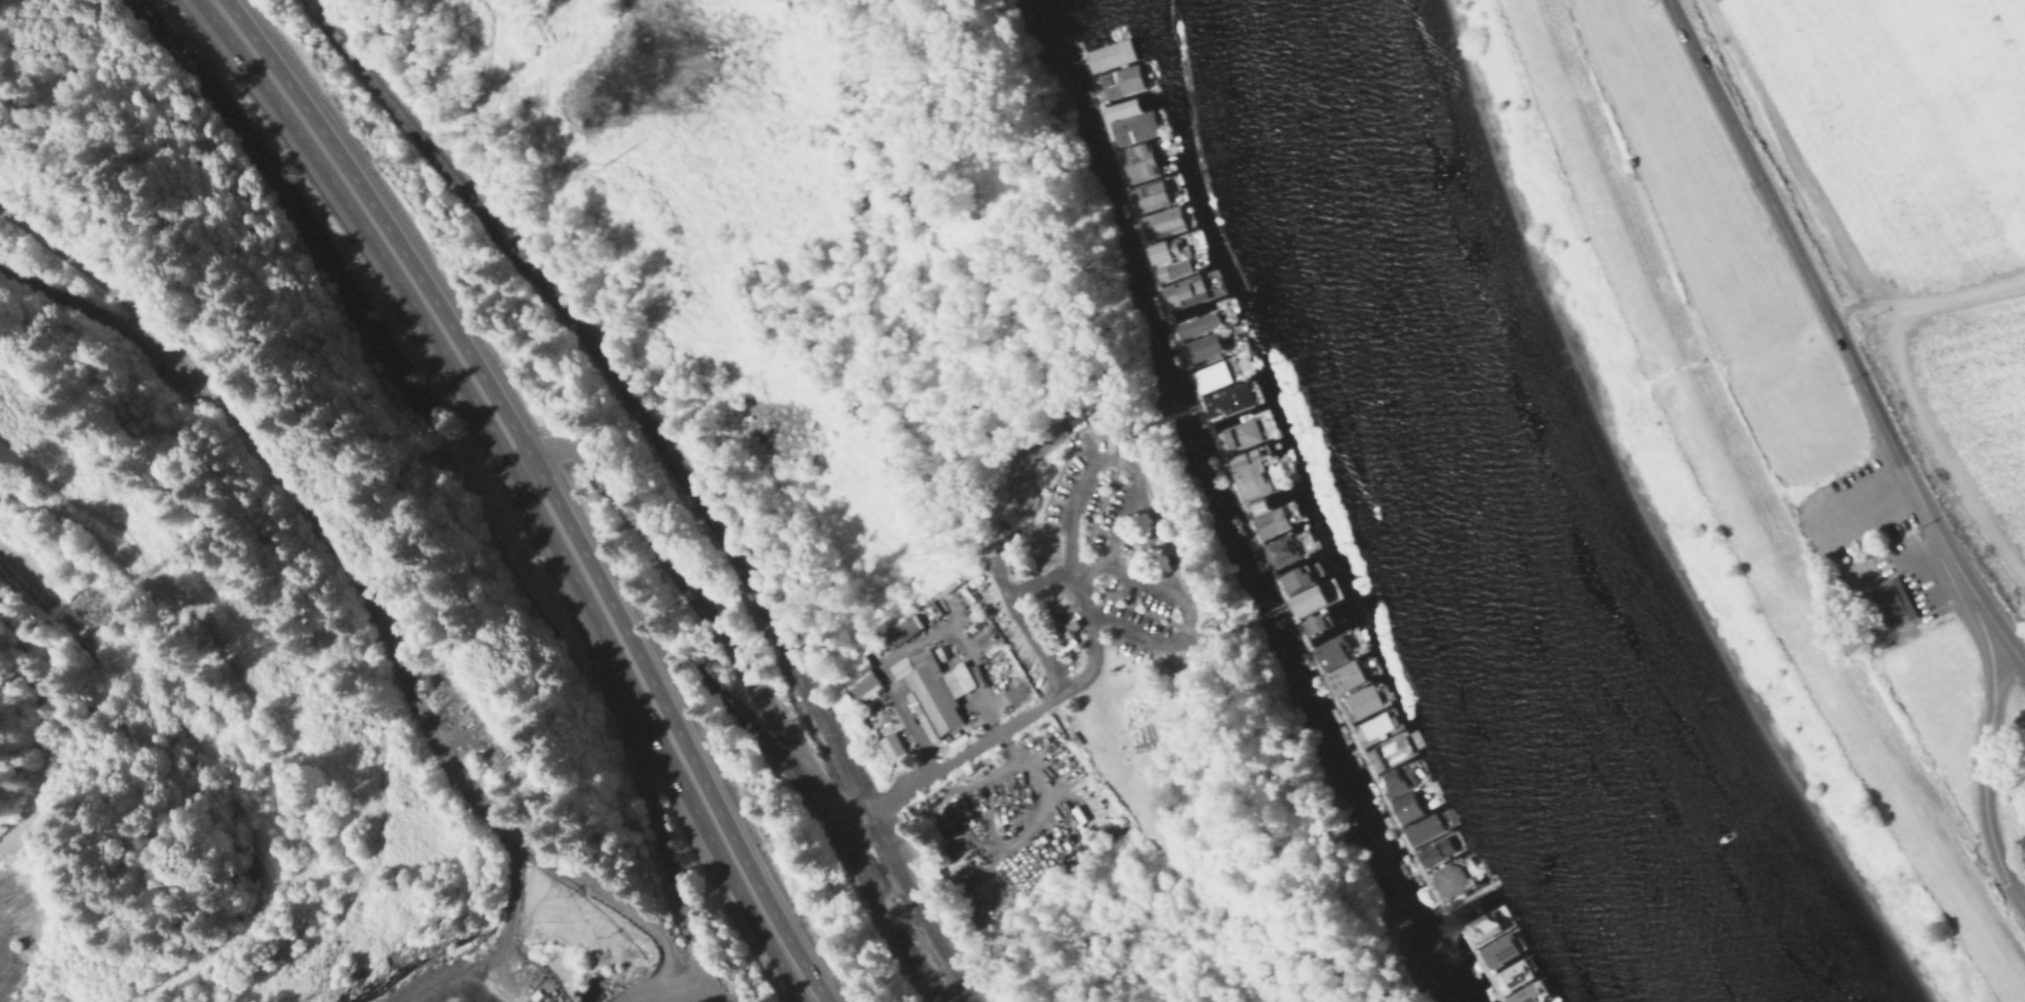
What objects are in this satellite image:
building: (1105, 52)
building: (1118, 76)
building: (1117, 104)
building: (1130, 124)
crop: (1902, 124)
road: (1750, 156)
building: (1135, 158)
building: (1150, 190)
railway: (273, 208)
building: (1160, 215)
building: (1172, 242)
building: (1169, 267)
building: (1188, 285)
road: (103, 313)
building: (1202, 316)
building: (1749, 329)
building: (1209, 341)
building: (1217, 369)
road: (1864, 384)
crop: (1978, 386)
building: (1228, 400)
pier: (1167, 418)
building: (1076, 419)
building: (1241, 429)
building: (1241, 453)
building: (1253, 475)
parking lot: (1083, 477)
railway: (674, 478)
road: (535, 488)
road: (1131, 501)
building: (1254, 502)
road: (1867, 503)
river: (1523, 512)
pier: (1244, 515)
building: (1271, 517)
parking lot: (1122, 522)
road: (1934, 523)
road: (1000, 536)
building: (1880, 536)
building: (1283, 544)
parking lot: (1010, 555)
road: (1910, 556)
parking lot: (1915, 569)
building: (1294, 572)
road: (1861, 581)
road: (357, 587)
parking lot: (1139, 588)
building: (1305, 592)
building: (1884, 605)
road: (1941, 606)
power tower: (77, 610)
road: (952, 610)
road: (1185, 612)
road: (1019, 617)
pier: (1258, 617)
building: (1310, 620)
road: (929, 621)
building: (1072, 623)
building: (908, 626)
road: (1996, 627)
parking lot: (1008, 632)
parking lot: (1145, 634)
building: (1335, 643)
road: (1984, 647)
parking lot: (1067, 654)
road: (2022, 666)
building: (1343, 669)
building: (862, 677)
road: (2004, 682)
road: (983, 687)
building: (936, 689)
building: (1359, 696)
quarry: (260, 714)
building: (1372, 722)
building: (895, 745)
building: (1383, 747)
building: (1398, 772)
road: (958, 786)
building: (1408, 798)
road: (842, 799)
road: (989, 799)
road: (1985, 811)
railway: (826, 823)
building: (1423, 824)
road: (970, 836)
building: (1436, 846)
road: (670, 868)
building: (1450, 873)
road: (515, 894)
building: (1483, 921)
building: (1499, 944)
pier: (1481, 968)
building: (1513, 968)
parking lot: (536, 984)
road: (666, 987)
building: (1526, 990)
road: (701, 995)
building: (1549, 1000)

